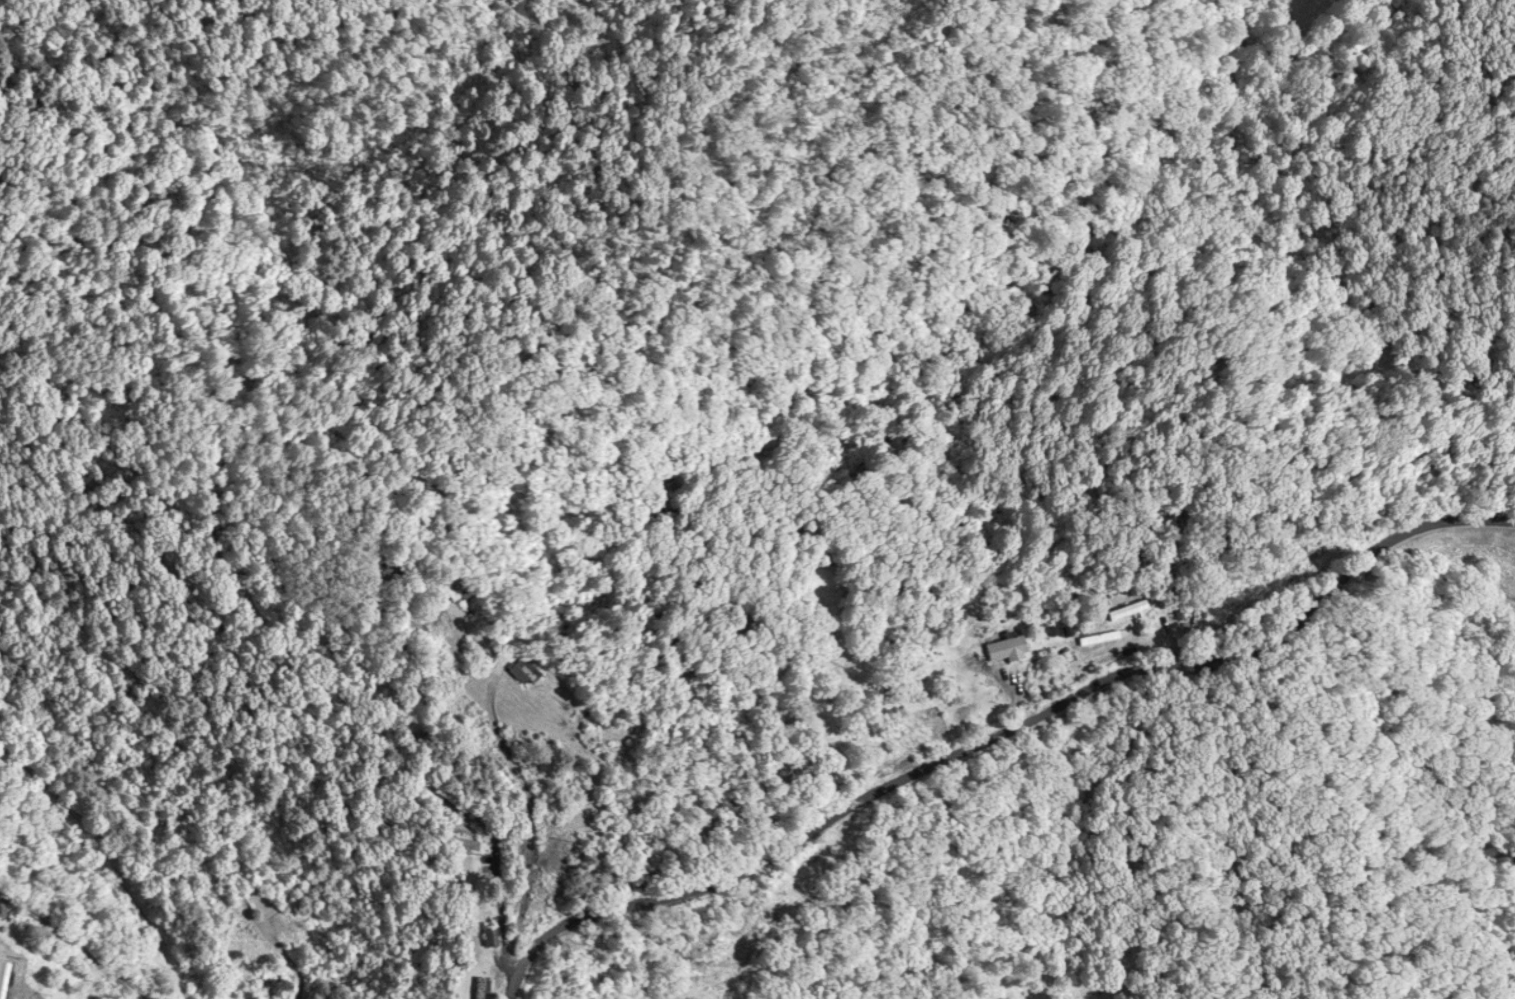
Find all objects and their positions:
building: (1128, 612)
building: (1008, 651)
building: (522, 672)
road: (1000, 729)
building: (455, 846)
road: (115, 868)
road: (493, 922)
building: (489, 939)
road: (47, 965)
building: (3, 979)
building: (480, 989)

